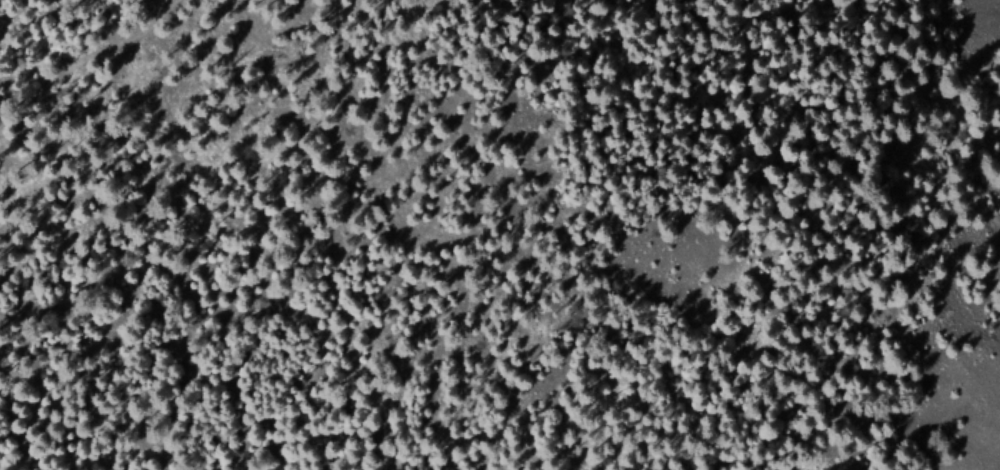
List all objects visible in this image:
road: (952, 105)

